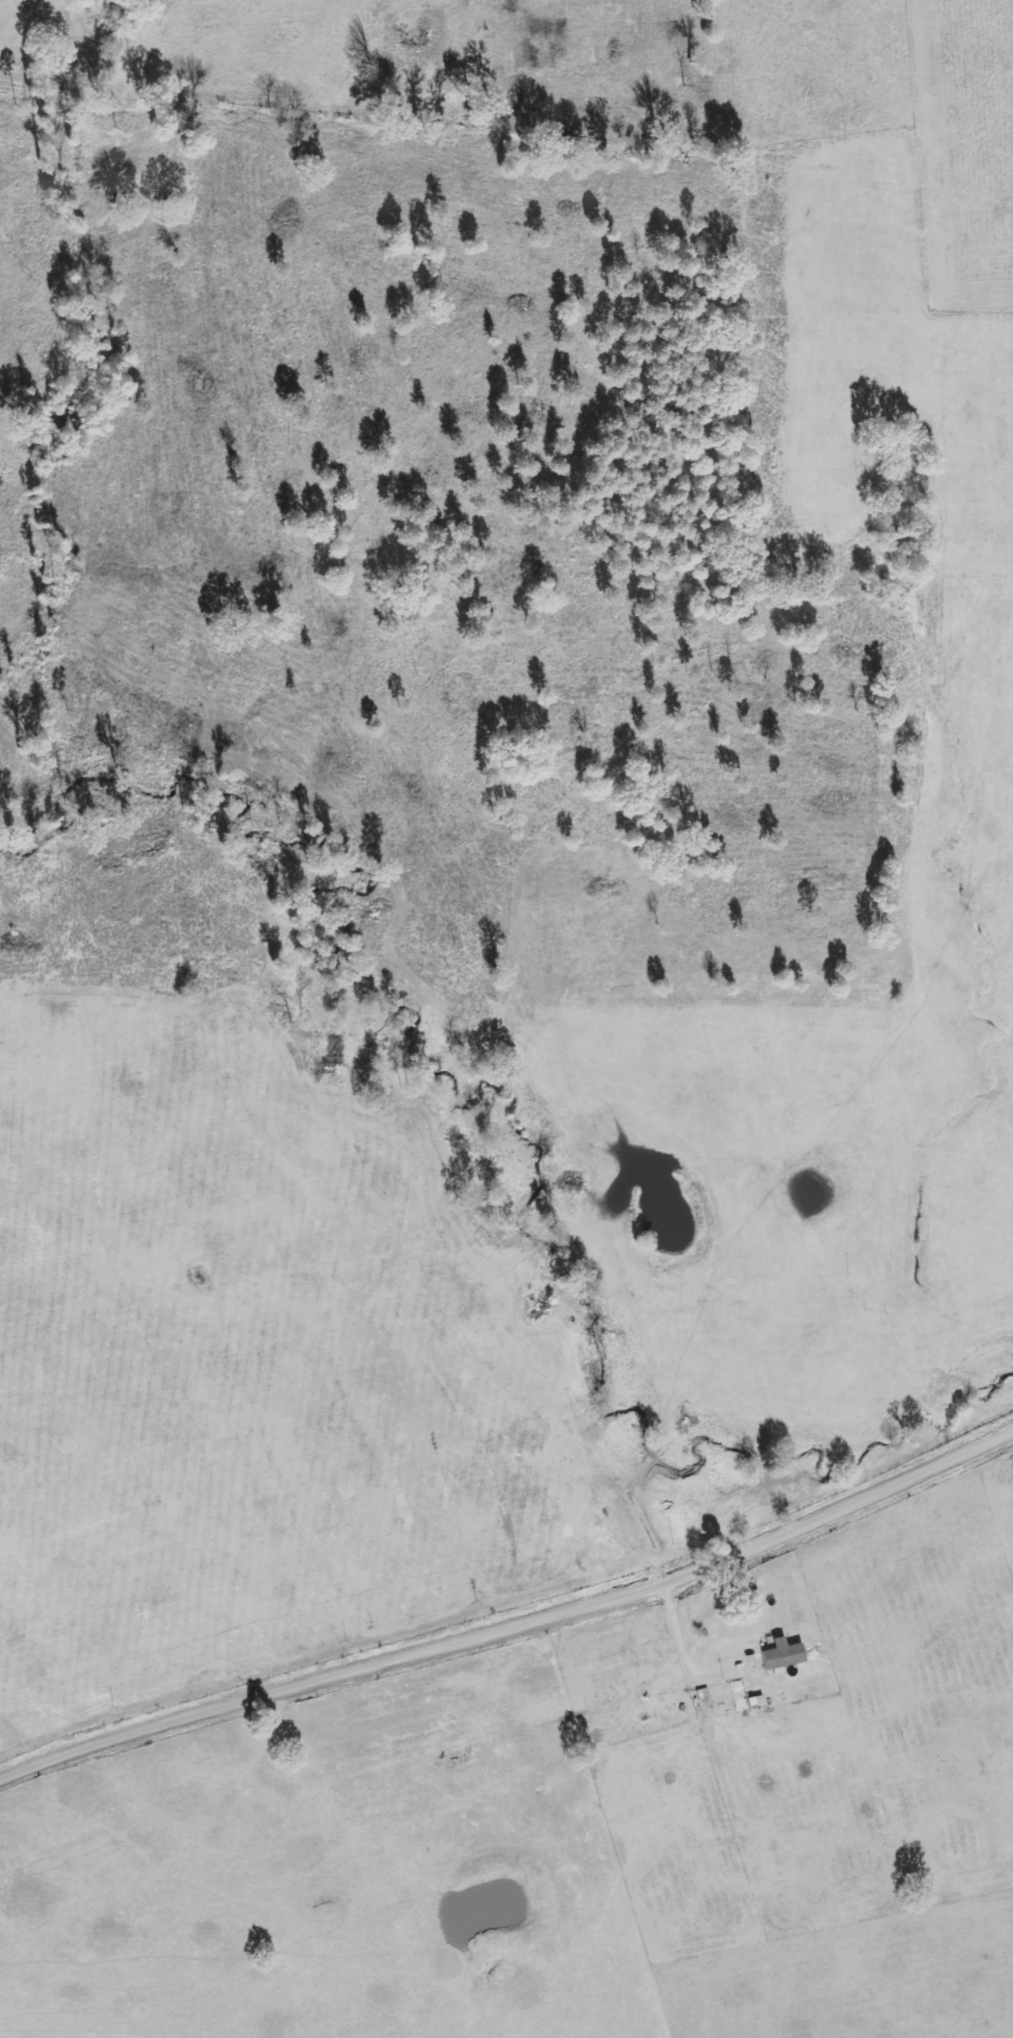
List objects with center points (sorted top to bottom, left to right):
road: (514, 1629)
building: (784, 1654)

